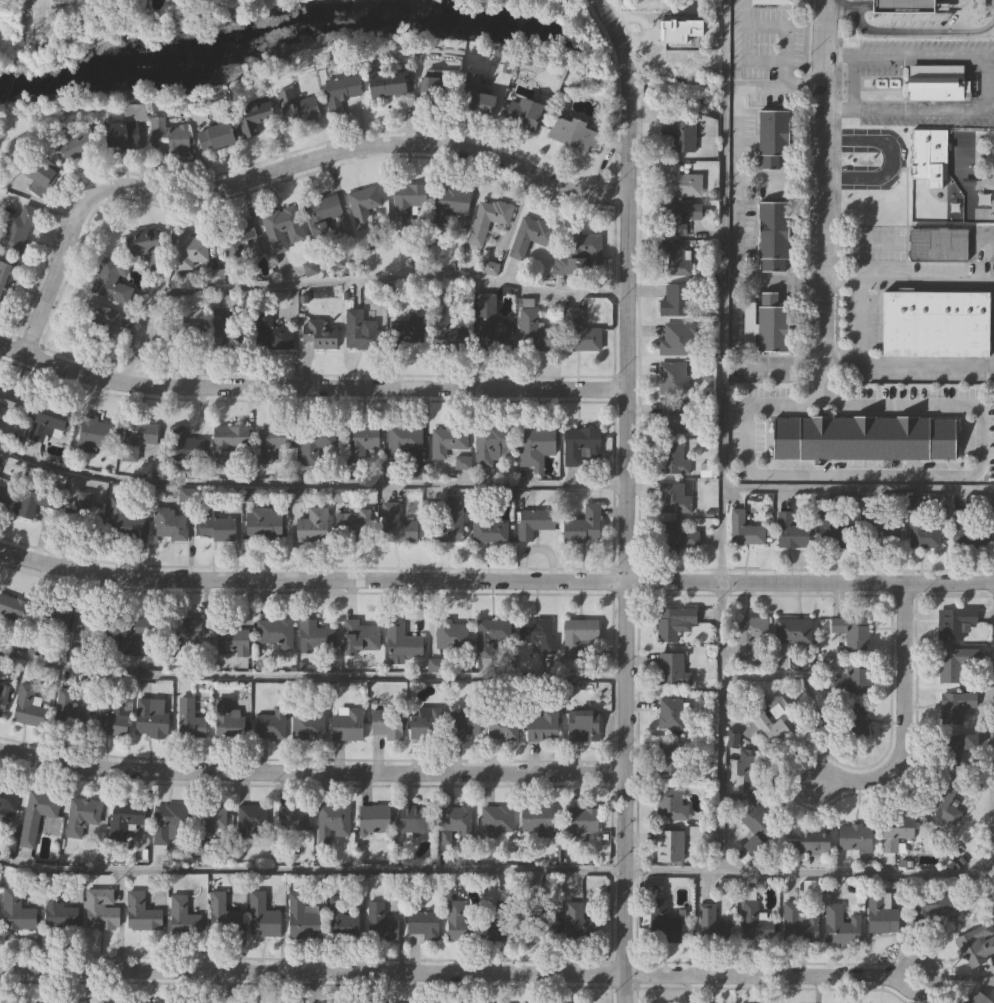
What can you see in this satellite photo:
building: (772, 1)
building: (903, 5)
building: (679, 22)
road: (781, 26)
road: (744, 30)
road: (907, 31)
road: (922, 49)
road: (783, 72)
building: (937, 81)
building: (390, 83)
building: (436, 90)
building: (341, 91)
building: (477, 97)
road: (910, 105)
building: (297, 107)
building: (524, 114)
building: (256, 119)
building: (682, 133)
building: (575, 134)
building: (124, 135)
building: (773, 136)
building: (169, 137)
building: (218, 137)
building: (79, 143)
road: (886, 149)
building: (928, 154)
road: (277, 168)
building: (41, 178)
road: (779, 180)
building: (679, 181)
road: (821, 190)
building: (409, 200)
building: (451, 200)
building: (363, 205)
building: (323, 215)
building: (677, 216)
building: (487, 220)
building: (283, 229)
building: (17, 231)
building: (531, 235)
building: (772, 235)
road: (736, 243)
building: (938, 243)
building: (236, 245)
building: (146, 247)
building: (190, 250)
building: (579, 255)
building: (674, 258)
building: (5, 277)
road: (778, 279)
road: (346, 280)
building: (111, 281)
road: (722, 290)
building: (674, 299)
building: (101, 315)
road: (859, 319)
building: (936, 322)
building: (490, 323)
building: (772, 323)
building: (410, 328)
building: (228, 330)
building: (449, 330)
building: (270, 332)
building: (535, 332)
building: (579, 332)
building: (319, 335)
building: (366, 335)
building: (193, 337)
building: (675, 338)
building: (671, 378)
road: (311, 385)
building: (13, 402)
building: (674, 417)
building: (49, 421)
building: (96, 434)
building: (138, 436)
building: (862, 438)
building: (447, 440)
building: (228, 441)
building: (273, 441)
building: (404, 441)
building: (320, 443)
building: (359, 443)
building: (492, 443)
building: (580, 444)
building: (536, 445)
building: (190, 449)
building: (671, 457)
building: (0, 469)
road: (899, 476)
road: (309, 483)
road: (859, 488)
building: (4, 493)
building: (672, 497)
building: (37, 498)
road: (624, 498)
building: (86, 513)
building: (123, 521)
building: (447, 521)
building: (534, 521)
building: (169, 523)
building: (214, 523)
building: (265, 524)
building: (353, 524)
building: (313, 525)
building: (584, 525)
building: (397, 526)
building: (487, 526)
building: (745, 529)
building: (835, 531)
building: (791, 532)
building: (967, 532)
building: (881, 534)
building: (924, 535)
building: (673, 537)
road: (495, 578)
building: (12, 606)
building: (52, 617)
building: (957, 621)
building: (673, 622)
building: (93, 625)
building: (139, 630)
building: (792, 630)
building: (851, 630)
building: (184, 632)
building: (275, 632)
building: (534, 632)
building: (491, 633)
building: (453, 634)
building: (747, 634)
building: (316, 635)
building: (578, 635)
building: (361, 637)
building: (232, 640)
building: (402, 640)
building: (955, 662)
building: (669, 668)
road: (310, 669)
building: (852, 679)
building: (3, 700)
building: (956, 705)
building: (29, 707)
building: (68, 712)
road: (900, 712)
building: (110, 714)
building: (669, 714)
building: (152, 717)
building: (226, 718)
building: (190, 720)
building: (468, 720)
building: (855, 720)
building: (773, 722)
building: (426, 723)
building: (270, 724)
building: (348, 724)
building: (387, 724)
building: (543, 725)
building: (583, 725)
building: (308, 726)
road: (720, 726)
building: (503, 727)
building: (734, 741)
building: (949, 750)
building: (668, 760)
road: (310, 768)
building: (751, 768)
building: (8, 798)
building: (671, 803)
building: (945, 803)
building: (38, 815)
building: (215, 815)
building: (81, 816)
building: (374, 818)
building: (416, 818)
building: (498, 818)
building: (125, 819)
building: (536, 819)
building: (583, 819)
building: (168, 820)
building: (292, 820)
building: (252, 821)
building: (332, 821)
building: (454, 823)
building: (757, 831)
building: (894, 835)
building: (854, 836)
building: (811, 841)
building: (672, 843)
road: (310, 870)
road: (807, 872)
building: (933, 907)
building: (101, 909)
building: (16, 911)
building: (58, 911)
building: (141, 912)
building: (880, 913)
building: (223, 915)
building: (264, 915)
building: (183, 916)
building: (303, 918)
building: (341, 918)
building: (755, 918)
building: (504, 921)
building: (380, 922)
building: (663, 922)
building: (459, 923)
building: (578, 923)
building: (800, 923)
building: (842, 923)
building: (424, 924)
building: (713, 924)
building: (539, 927)
building: (976, 945)
road: (459, 971)
building: (977, 998)
building: (199, 1001)
building: (0, 1002)
building: (26, 1002)
building: (68, 1002)
building: (111, 1002)
building: (153, 1002)

